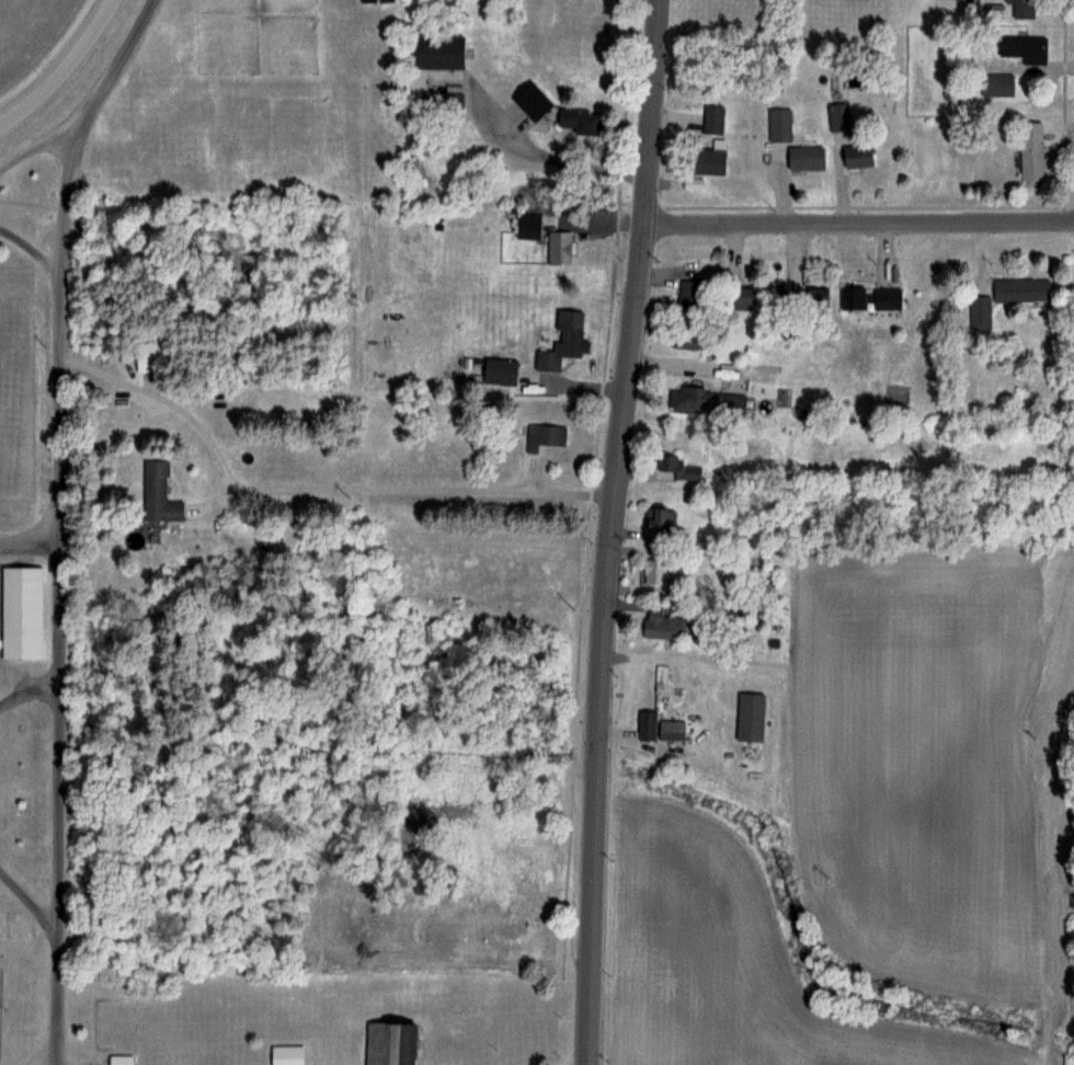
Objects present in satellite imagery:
building: (374, 1)
building: (1021, 8)
building: (1021, 45)
building: (436, 51)
track: (58, 61)
building: (995, 83)
building: (443, 100)
building: (530, 100)
building: (837, 115)
building: (712, 118)
building: (576, 121)
building: (779, 124)
road: (25, 133)
building: (857, 154)
road: (540, 157)
building: (803, 157)
building: (704, 159)
building: (1029, 162)
building: (527, 226)
road: (858, 231)
building: (559, 247)
building: (1019, 289)
building: (688, 295)
building: (811, 296)
building: (850, 296)
building: (884, 297)
building: (739, 298)
building: (979, 311)
building: (567, 333)
building: (685, 340)
building: (146, 353)
building: (706, 401)
building: (544, 436)
building: (671, 467)
road: (408, 488)
building: (157, 494)
road: (53, 516)
building: (658, 520)
road: (606, 531)
road: (26, 541)
building: (652, 571)
park: (42, 583)
building: (20, 611)
building: (661, 625)
road: (27, 695)
building: (749, 715)
building: (645, 724)
building: (672, 729)
road: (26, 902)
building: (388, 1043)
building: (286, 1054)
building: (121, 1060)

